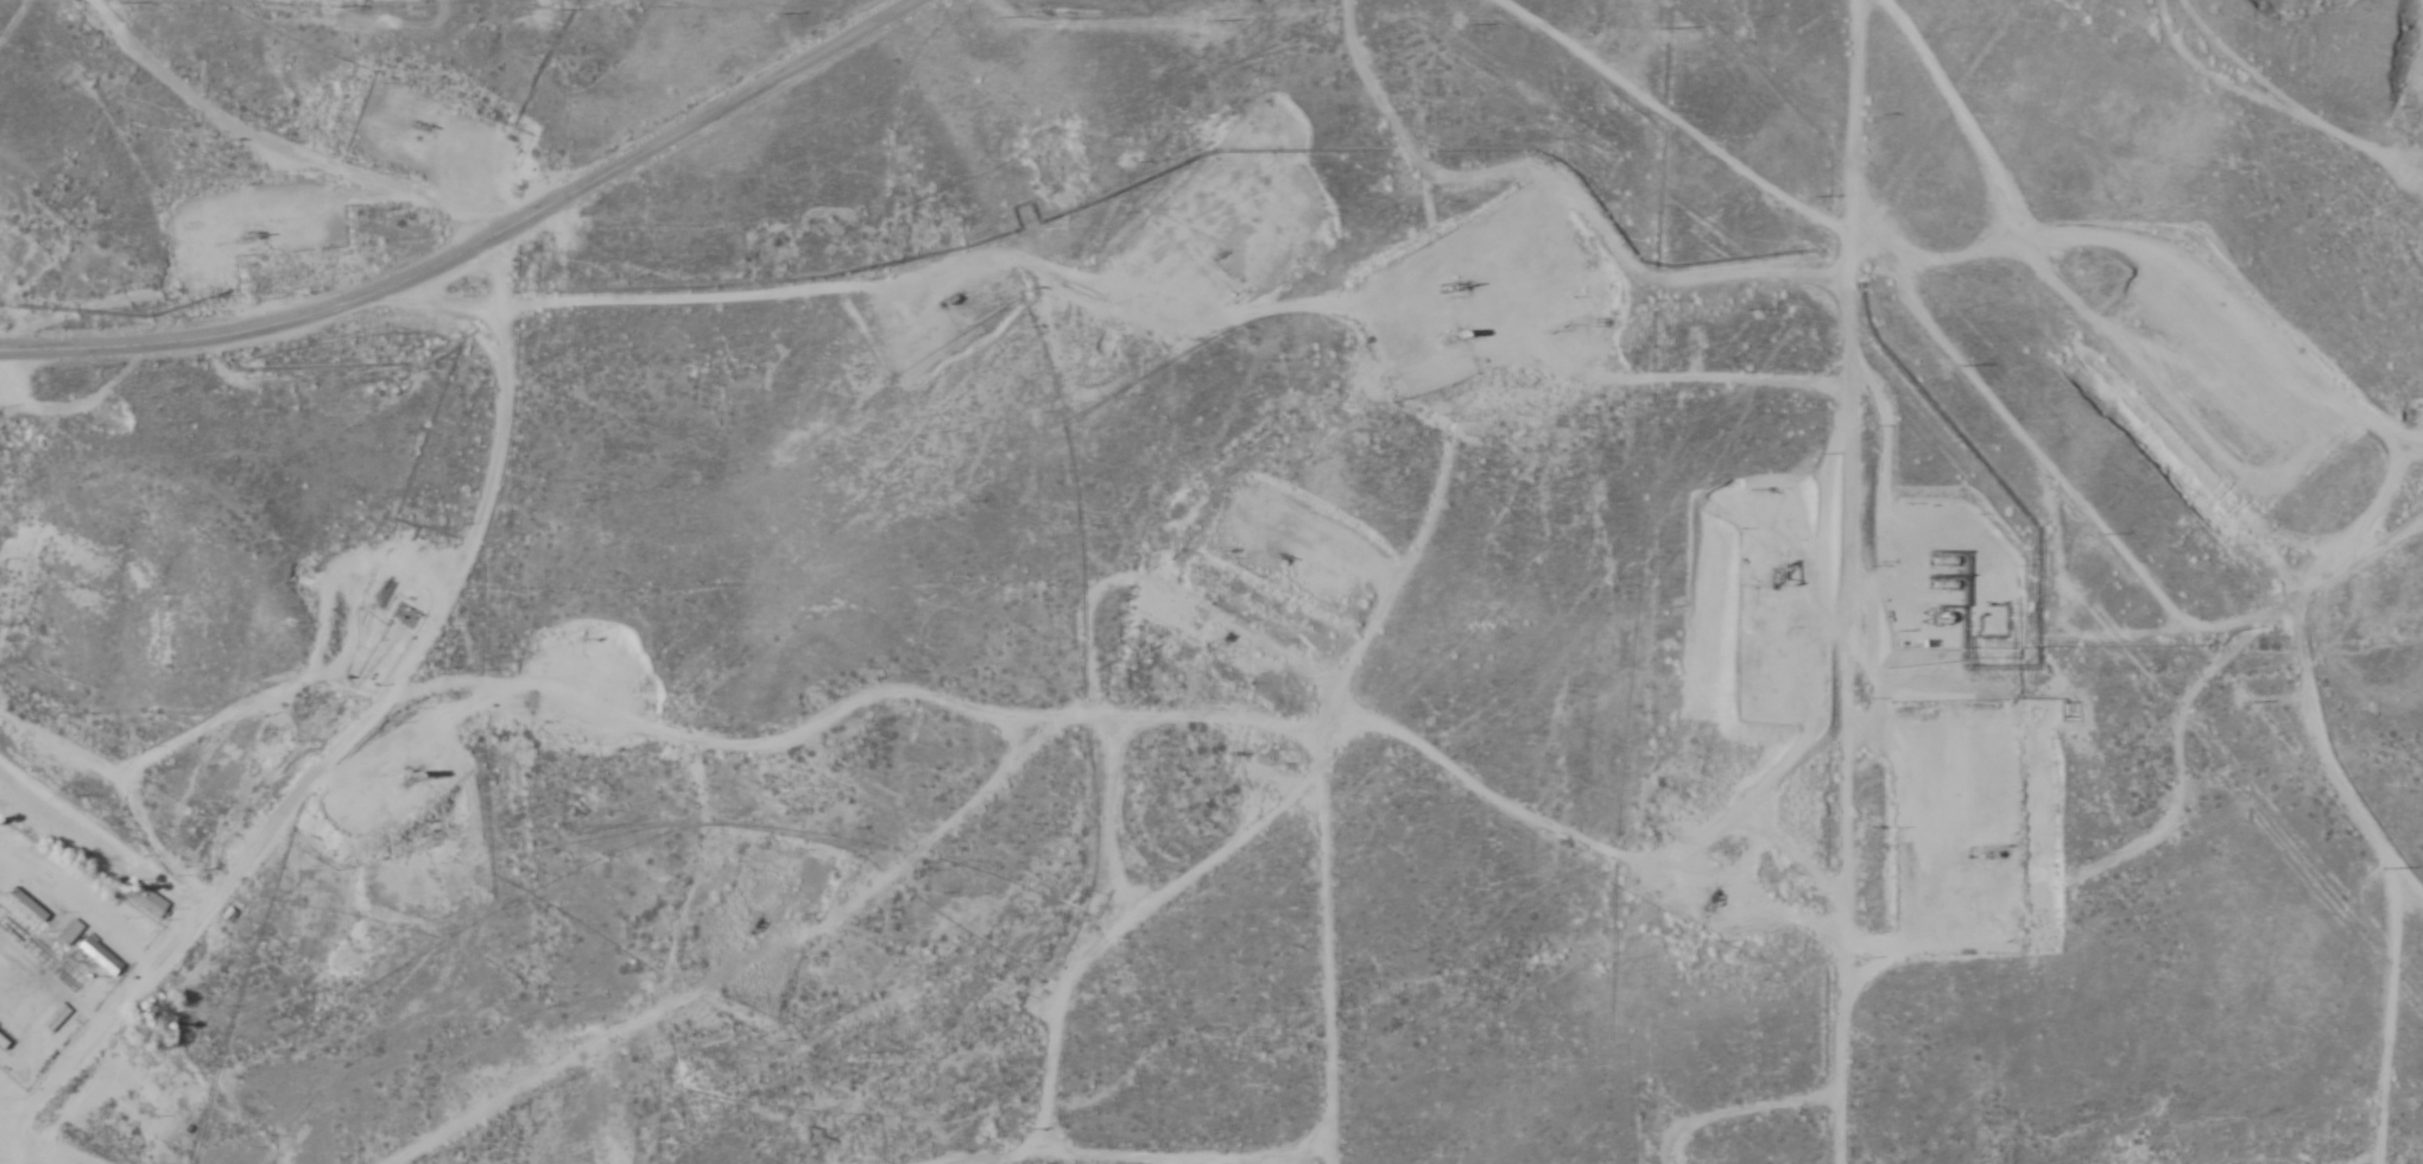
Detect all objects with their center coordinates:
road: (481, 242)
road: (335, 728)
building: (150, 902)
building: (75, 934)
building: (105, 959)
building: (62, 1018)
building: (4, 1044)
road: (17, 1103)

